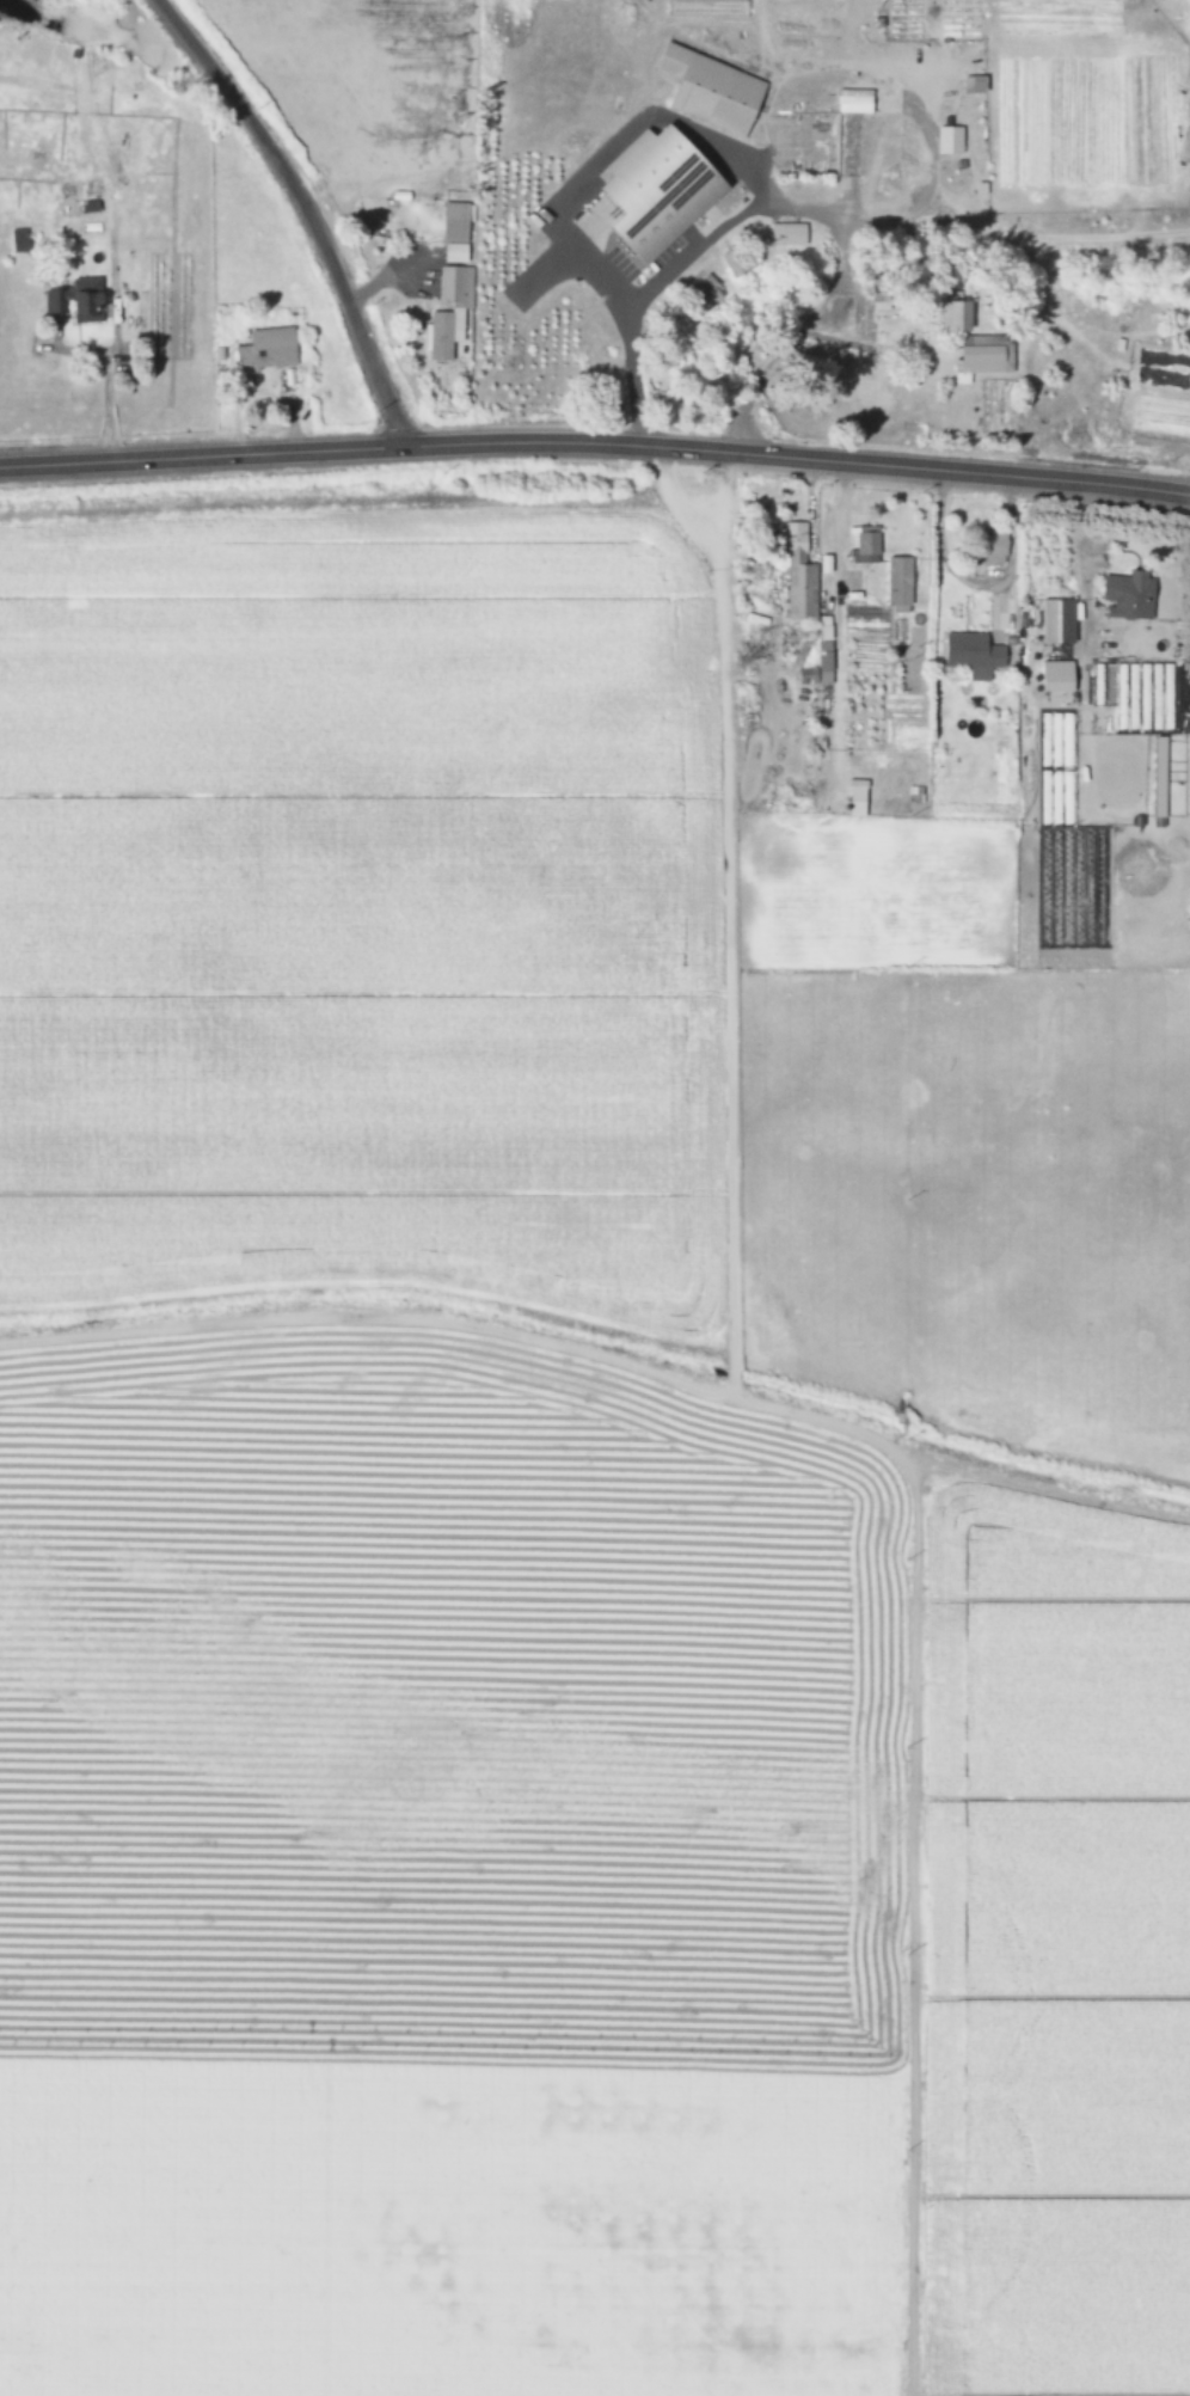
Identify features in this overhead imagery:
building: (706, 8)
building: (710, 91)
building: (854, 102)
building: (949, 140)
crop: (498, 190)
building: (657, 191)
road: (303, 208)
building: (455, 232)
building: (787, 235)
building: (19, 241)
building: (741, 261)
building: (879, 292)
building: (703, 294)
building: (76, 300)
building: (449, 314)
building: (956, 315)
building: (266, 350)
building: (986, 355)
road: (595, 442)
building: (866, 547)
building: (993, 550)
building: (796, 570)
building: (900, 586)
building: (1129, 596)
building: (1057, 623)
building: (824, 651)
building: (973, 656)
building: (1057, 678)
building: (1159, 778)
building: (857, 799)
crop: (558, 1515)

